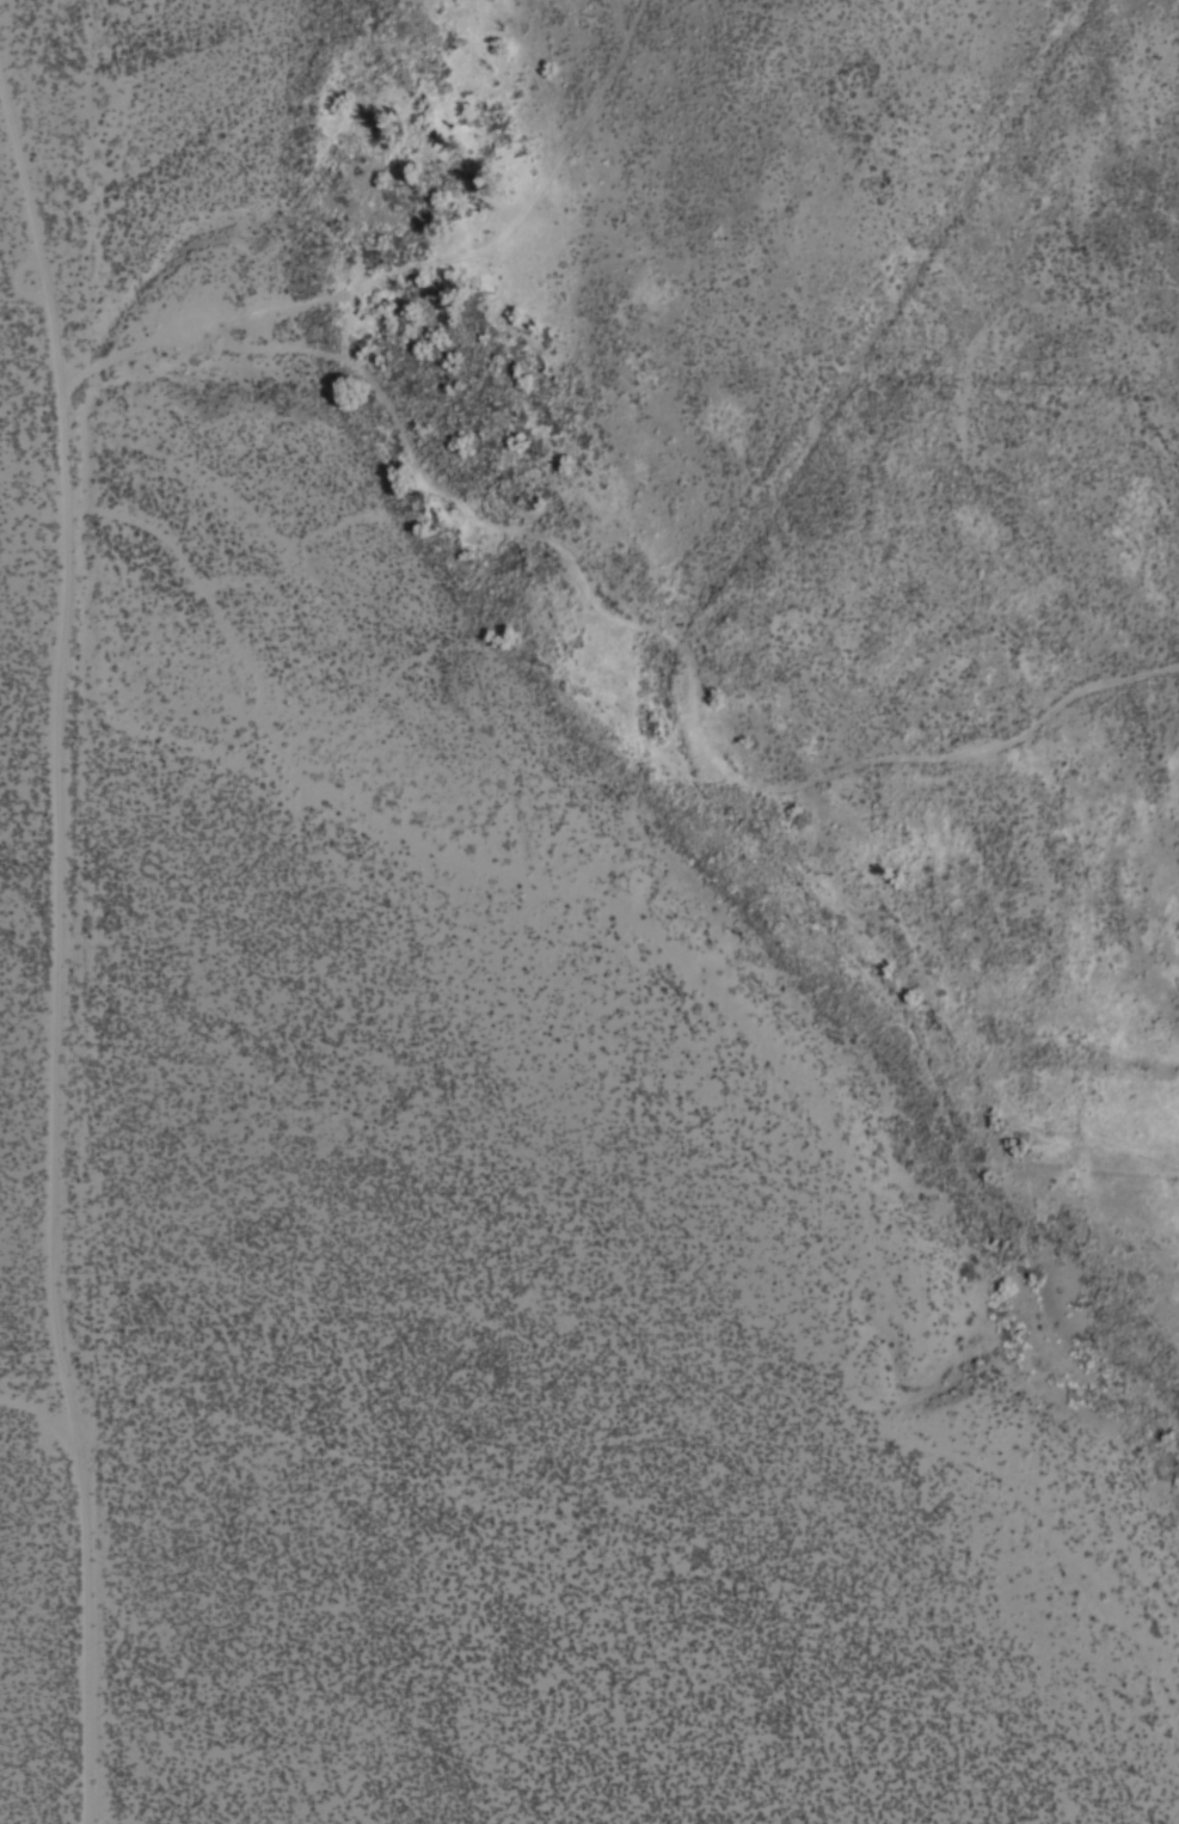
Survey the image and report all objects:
road: (419, 268)
road: (683, 653)
road: (54, 951)

